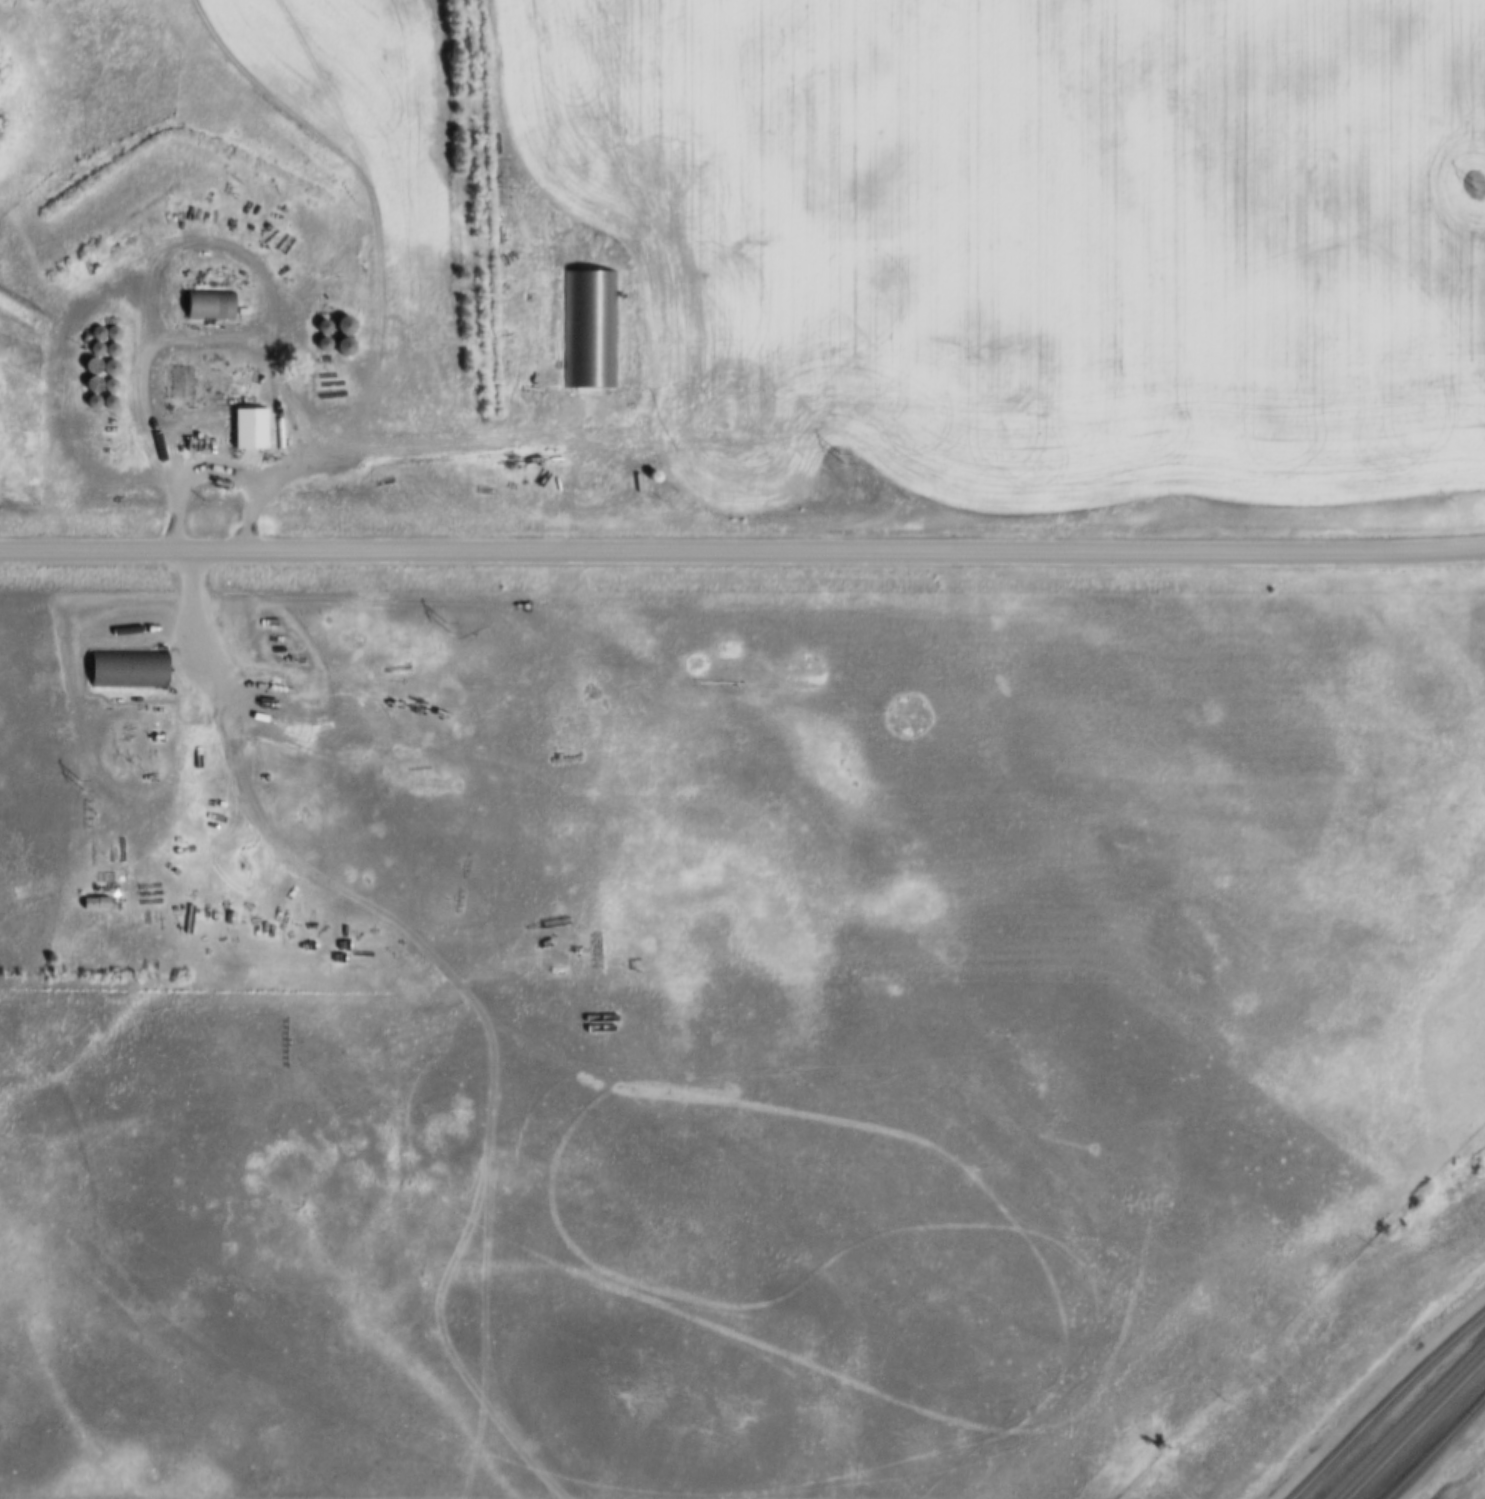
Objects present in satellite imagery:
power tower: (1474, 184)
building: (206, 305)
building: (342, 337)
road: (217, 344)
building: (174, 379)
building: (247, 428)
power tower: (840, 457)
road: (742, 553)
power tower: (446, 626)
building: (126, 671)
power tower: (81, 784)
railway: (1469, 1373)
railway: (1386, 1403)
railway: (1406, 1418)
railway: (1424, 1439)
railway: (1394, 1444)
railway: (1399, 1444)
railway: (1434, 1445)
railway: (1442, 1451)

